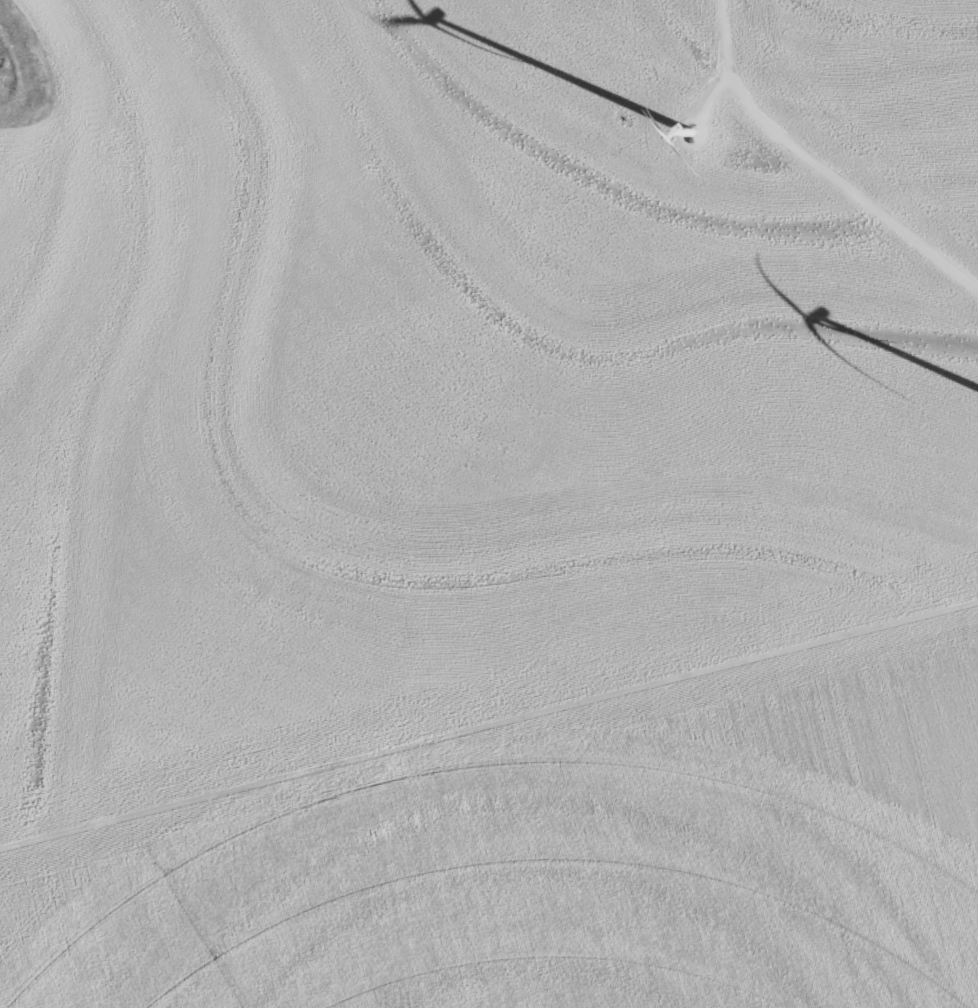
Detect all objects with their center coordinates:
wind turbine: (692, 135)
road: (817, 167)

